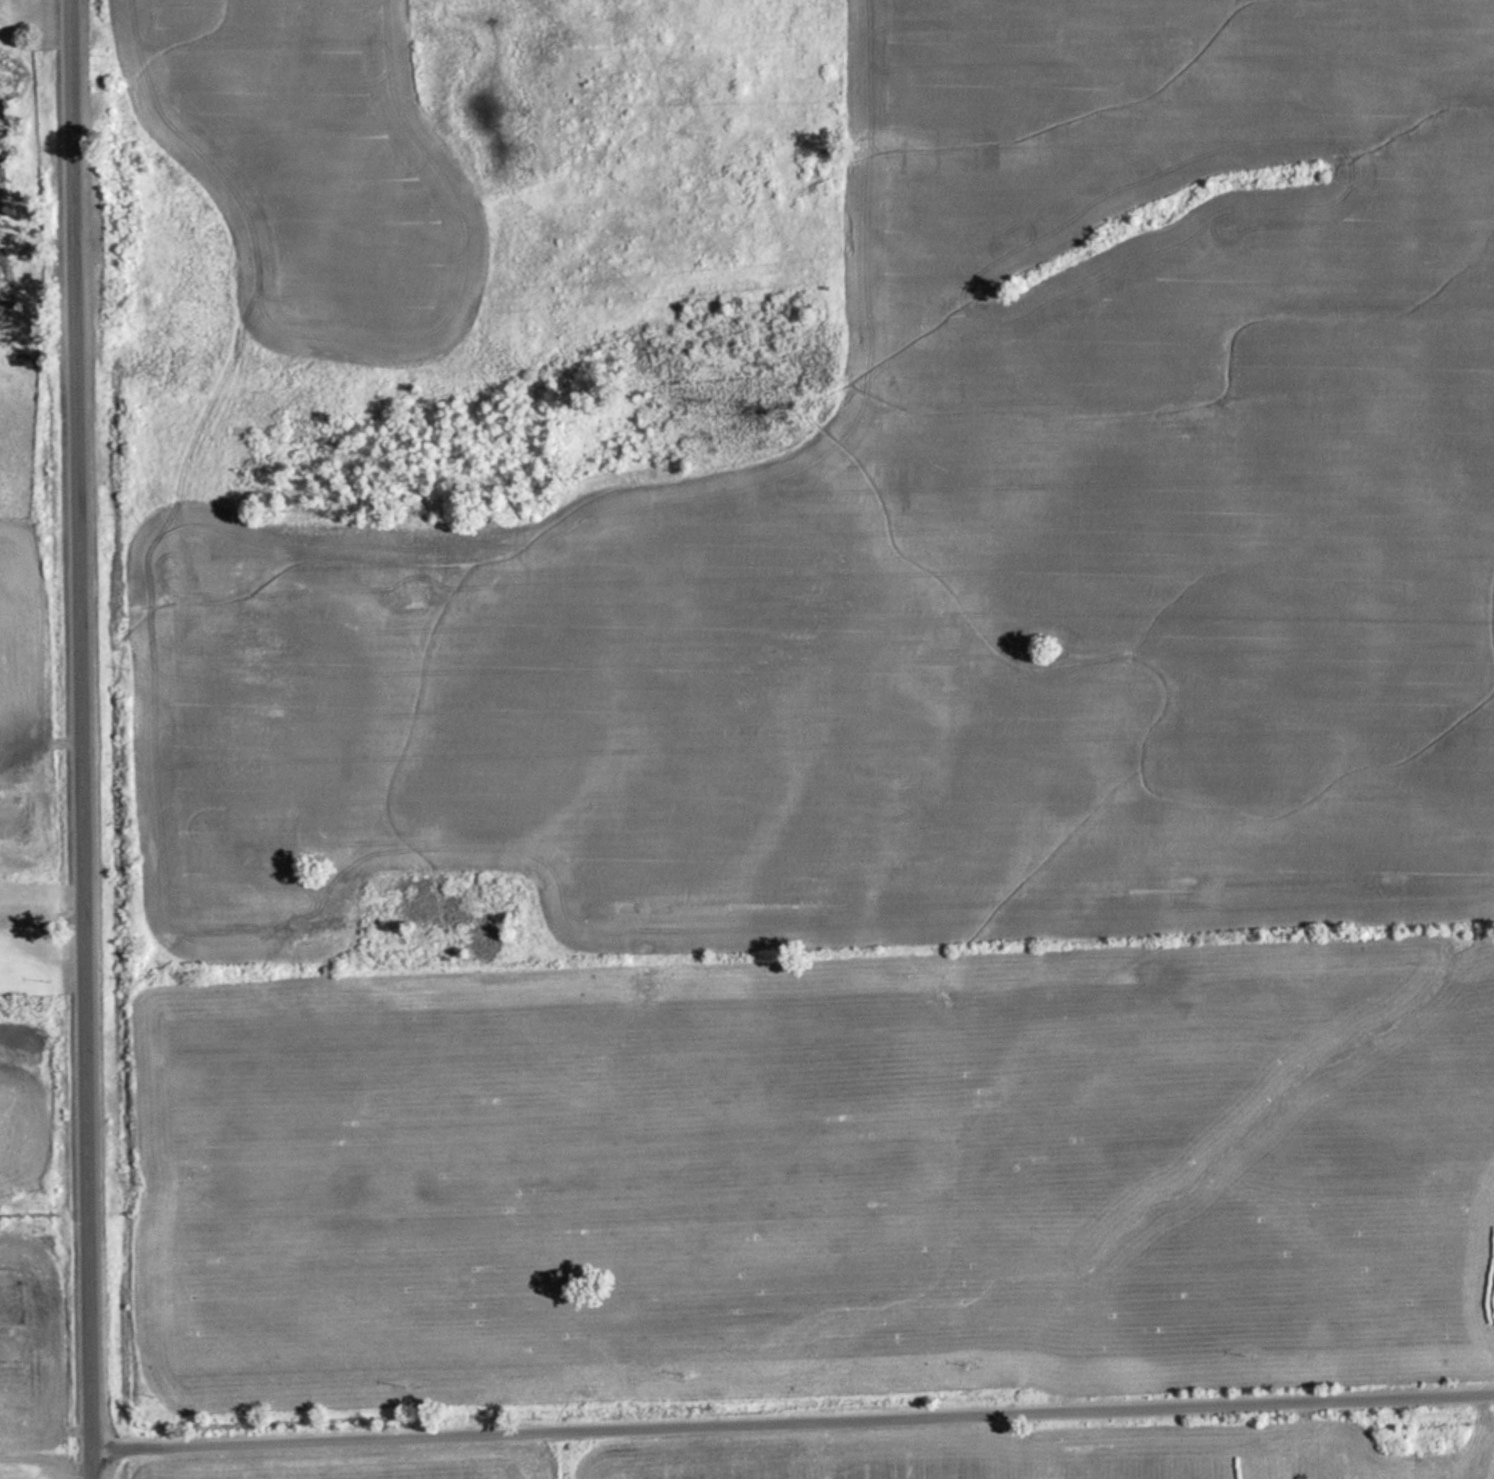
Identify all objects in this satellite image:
road: (82, 739)
road: (792, 1425)

